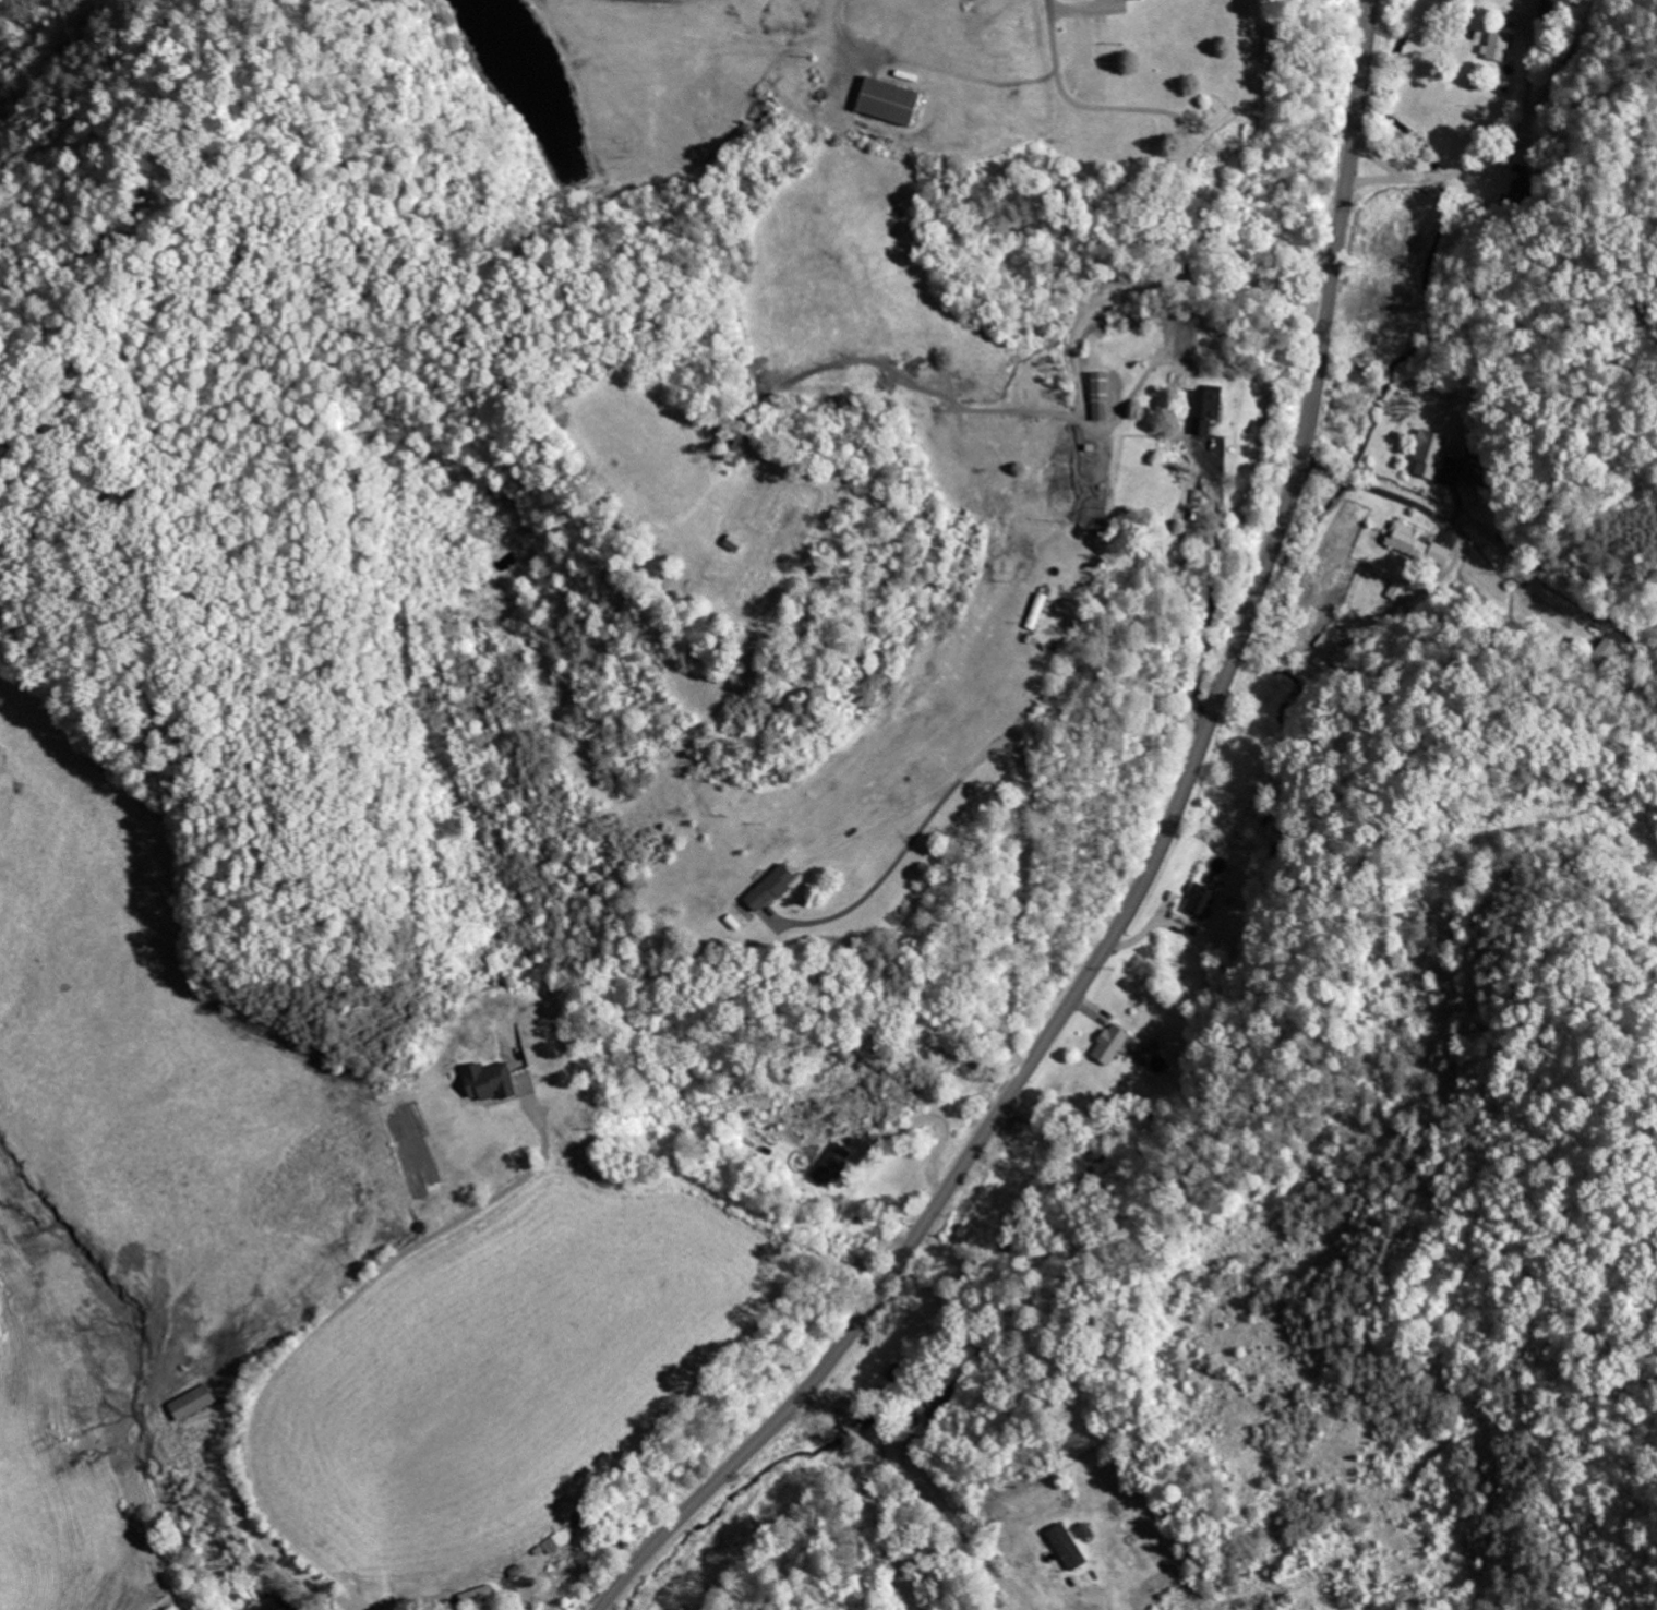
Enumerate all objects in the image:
building: (1497, 45)
building: (884, 101)
road: (1170, 286)
building: (1105, 395)
building: (1209, 408)
building: (1433, 454)
building: (1412, 539)
building: (1328, 650)
road: (1145, 879)
building: (779, 888)
building: (1204, 901)
building: (1116, 1043)
building: (495, 1081)
building: (837, 1164)
building: (199, 1403)
building: (560, 1543)
building: (1072, 1547)
building: (482, 1595)

